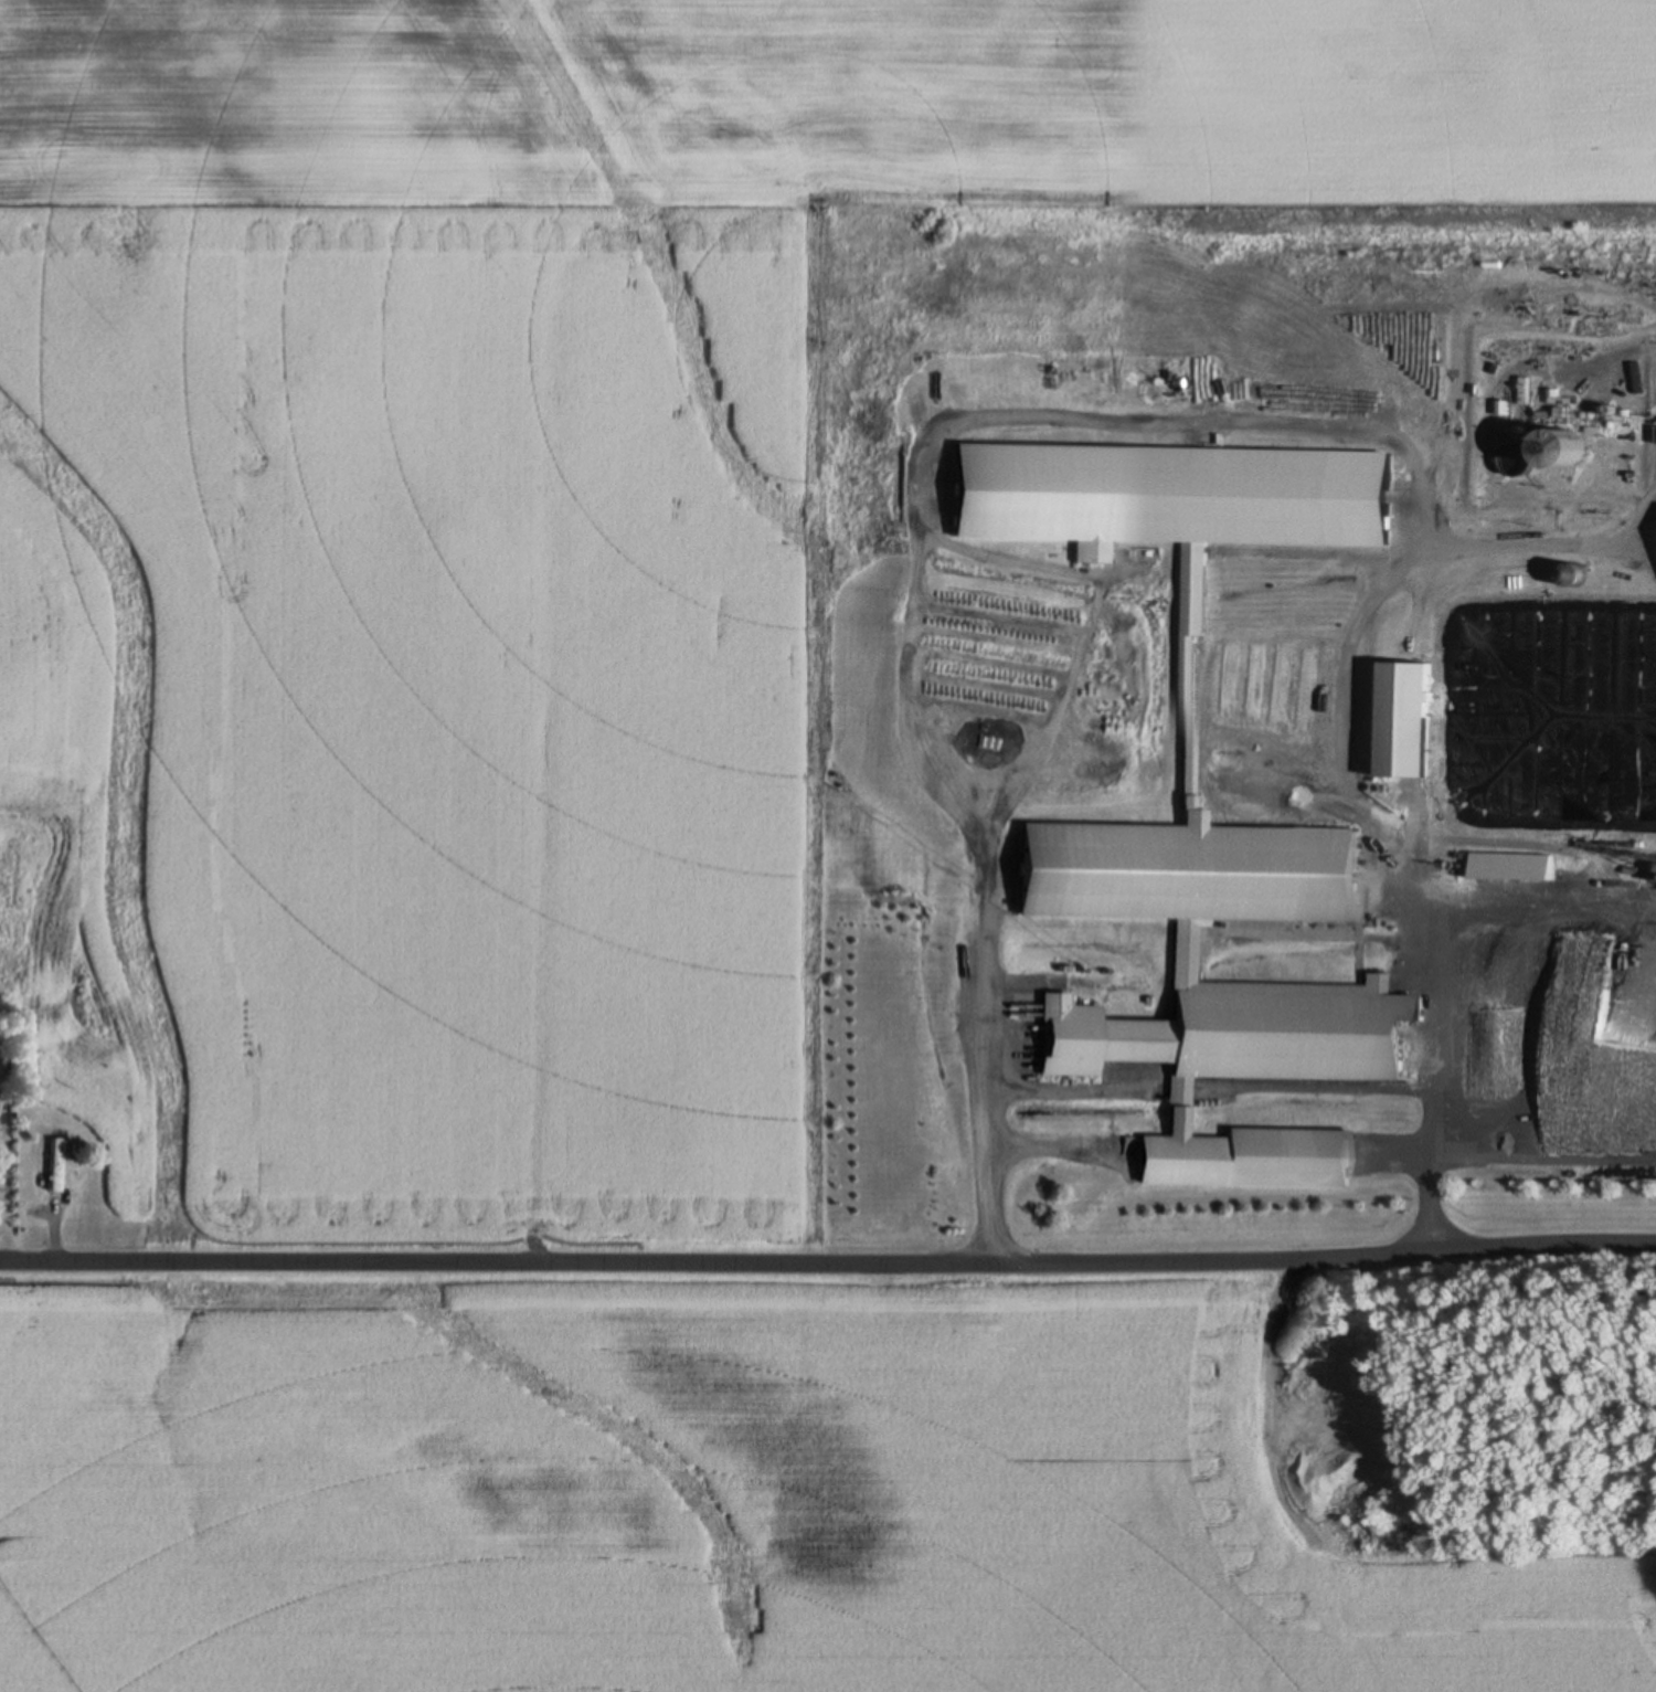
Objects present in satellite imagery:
road: (1165, 419)
road: (1542, 543)
crop: (534, 546)
building: (1409, 740)
building: (1185, 778)
road: (1535, 908)
building: (54, 1165)
road: (828, 1259)
crop: (709, 1493)

